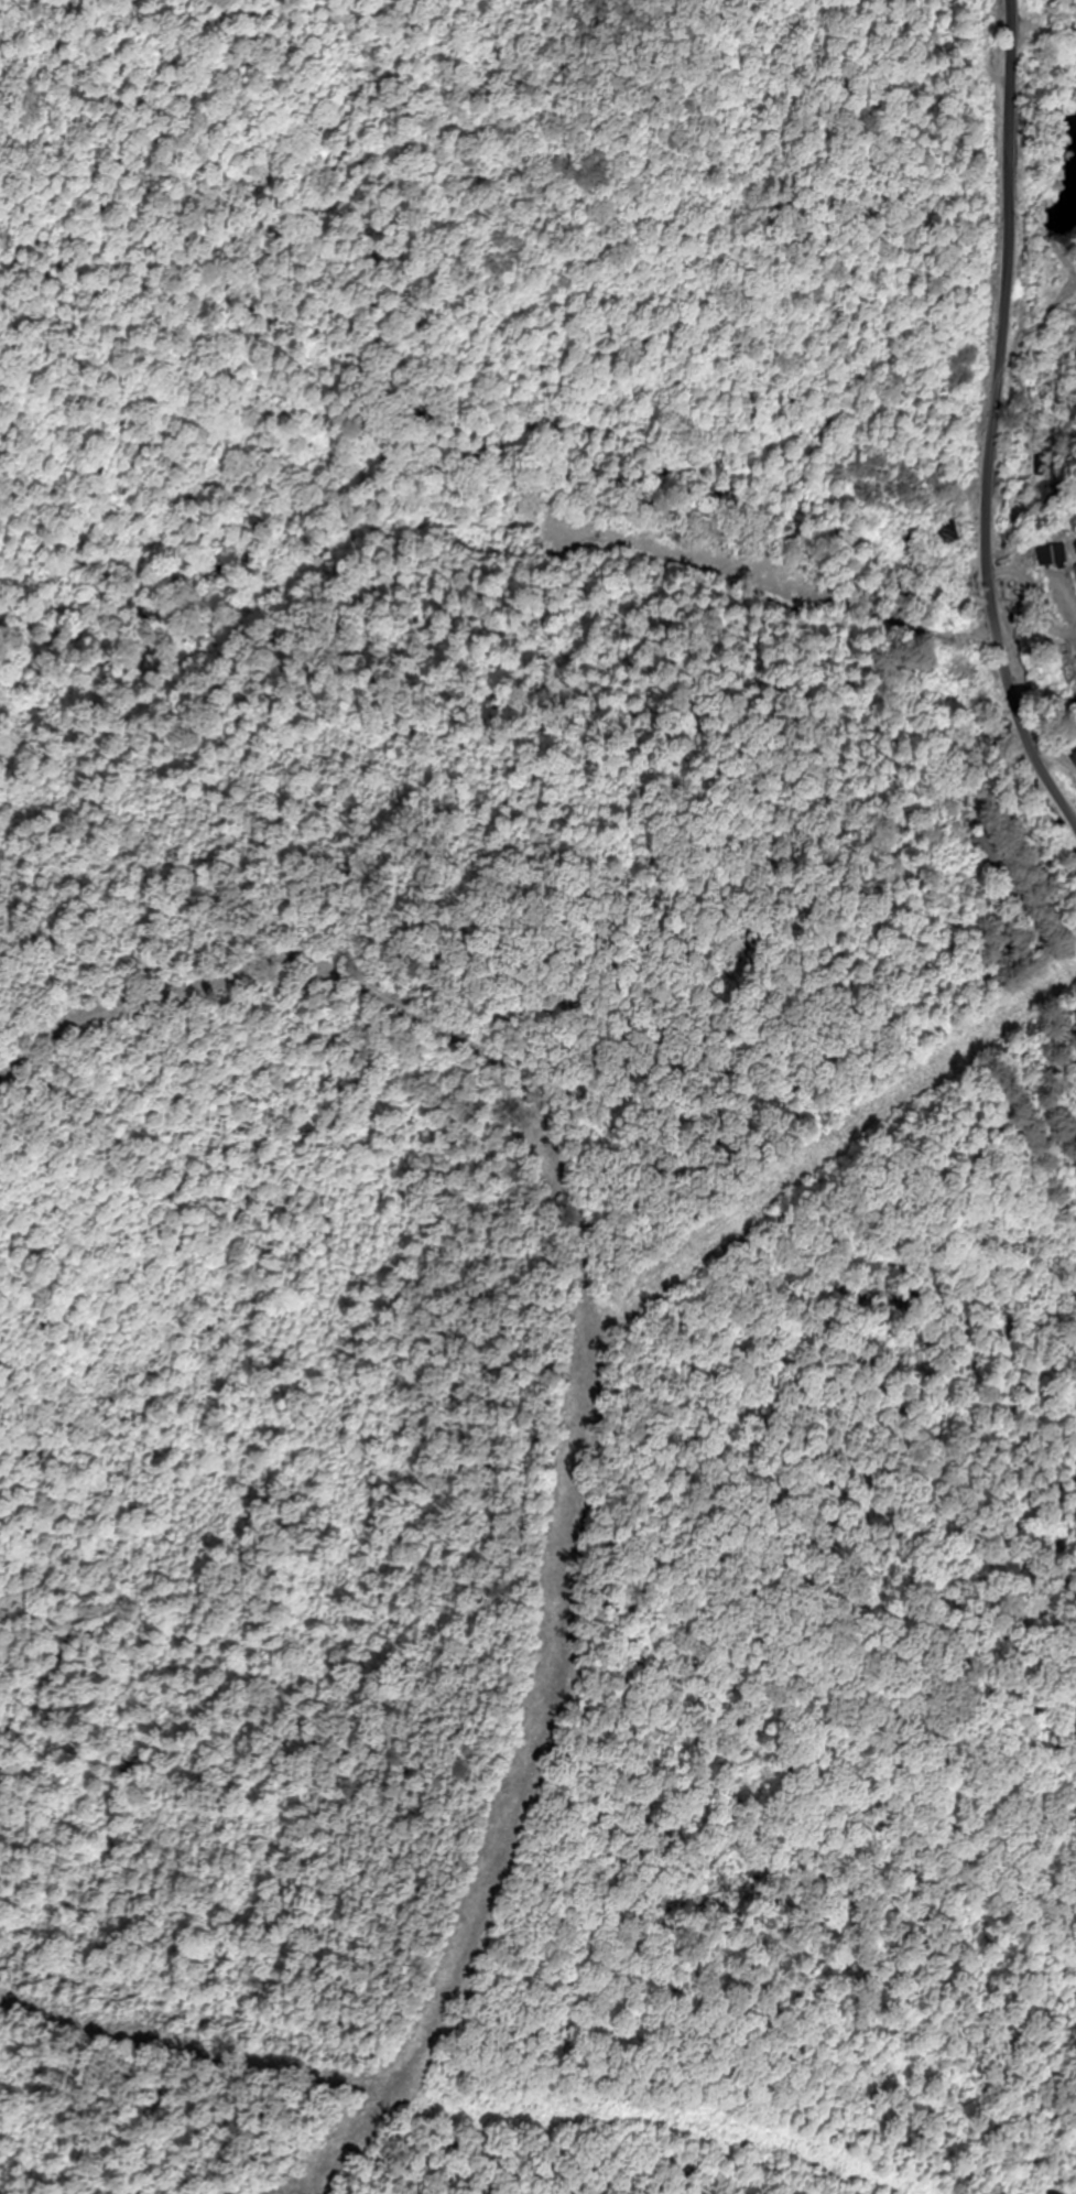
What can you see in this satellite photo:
road: (996, 414)
building: (944, 534)
building: (1047, 555)
building: (1074, 759)

